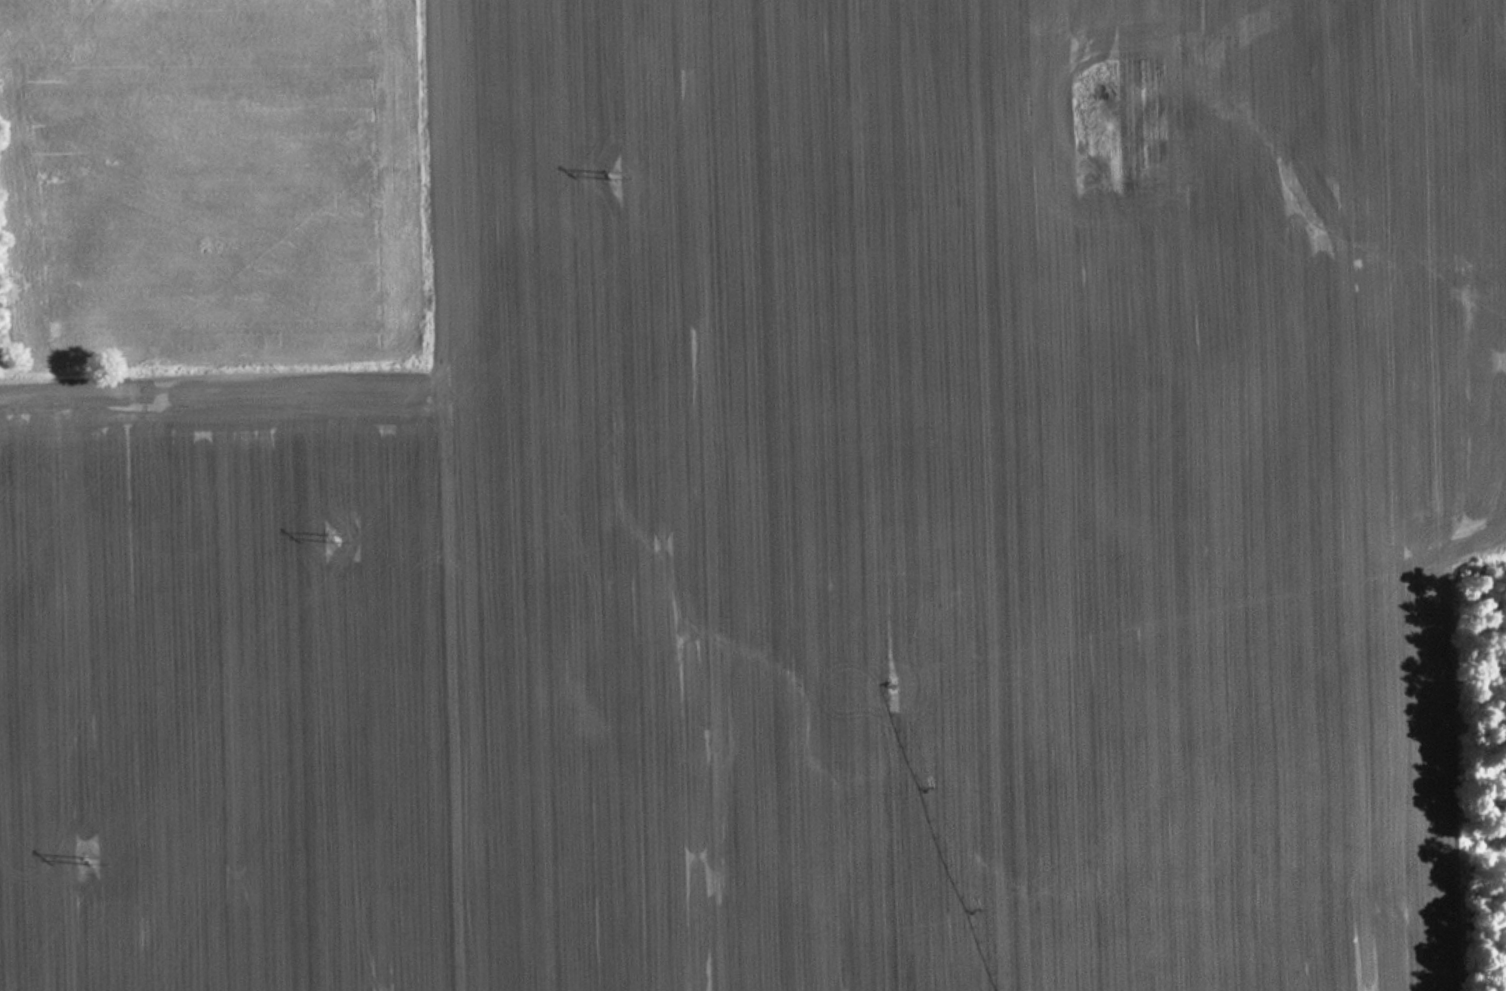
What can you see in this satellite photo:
power tower: (612, 171)
power tower: (338, 539)
power tower: (91, 862)

